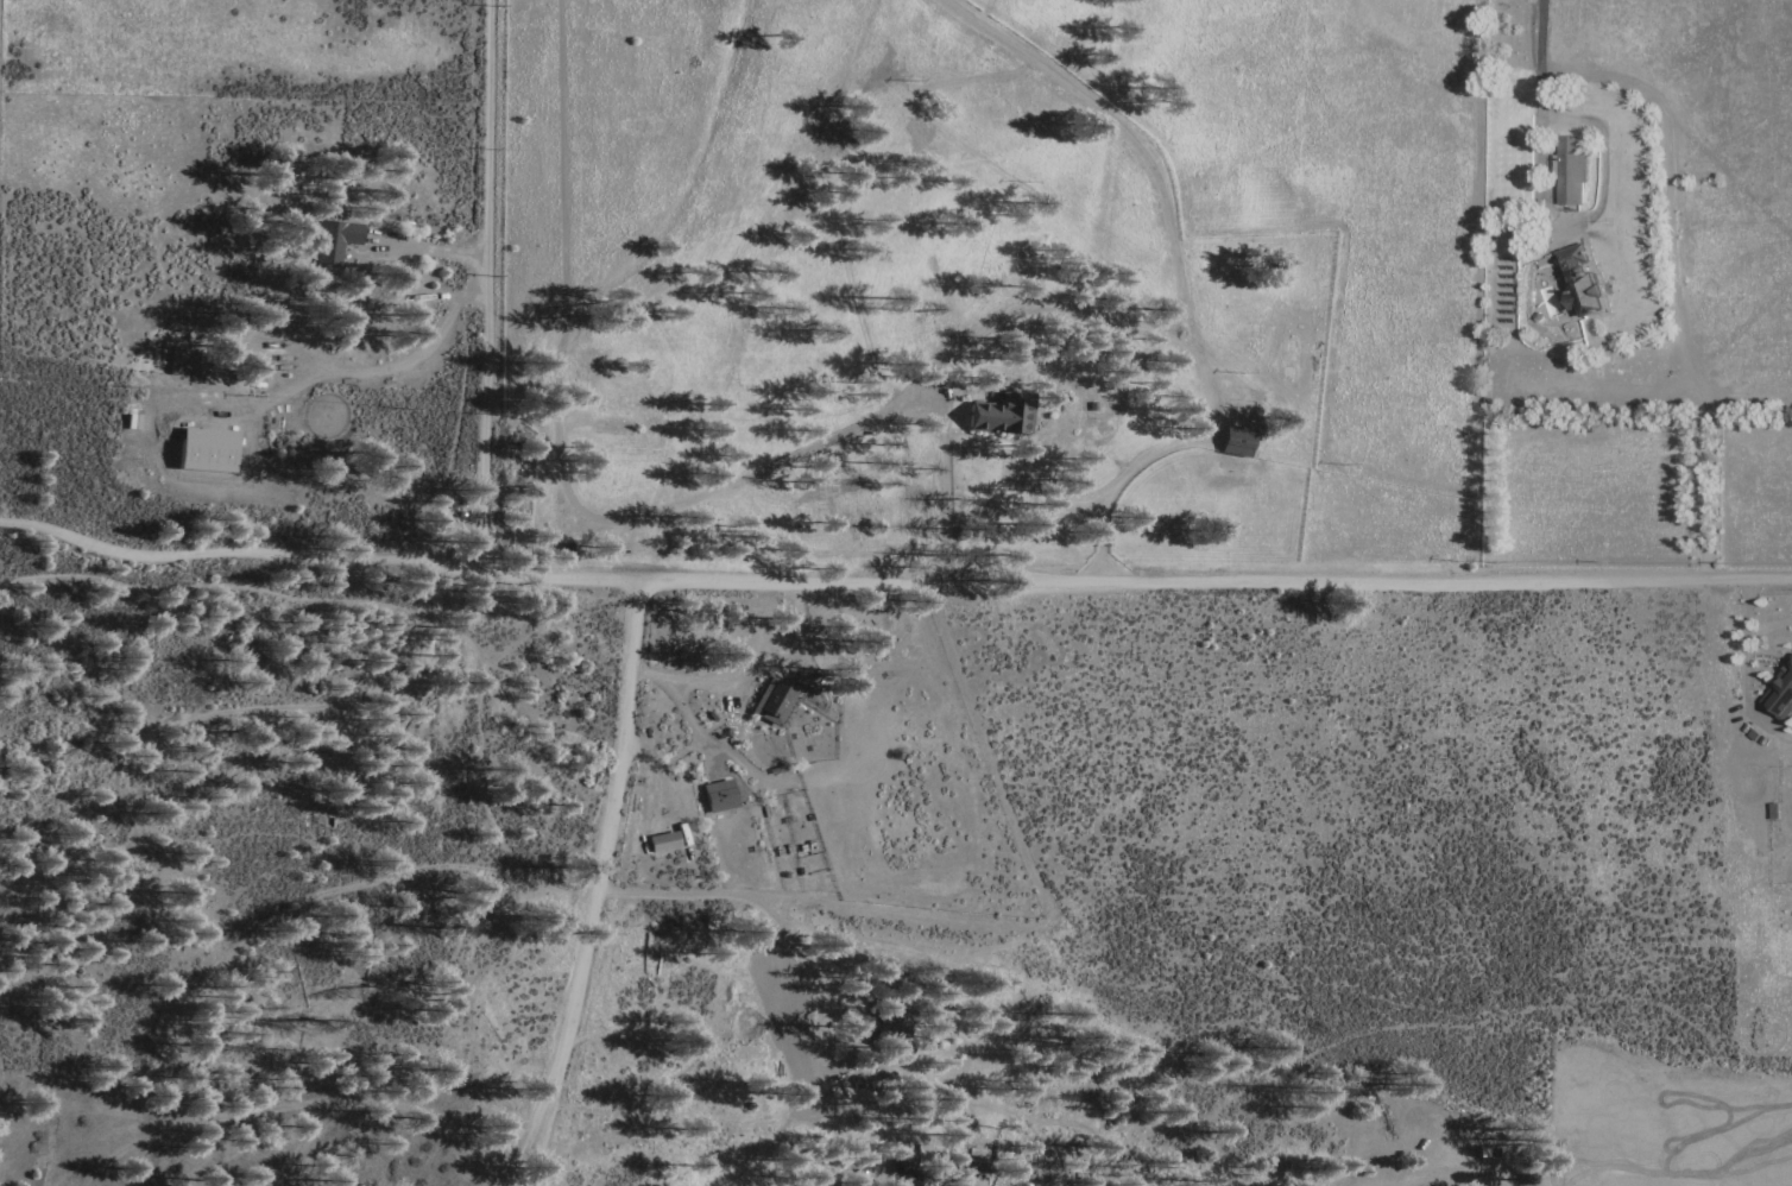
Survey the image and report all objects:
road: (1542, 39)
road: (1129, 139)
building: (1569, 168)
road: (1580, 221)
building: (333, 242)
road: (427, 252)
building: (1578, 280)
road: (487, 284)
road: (433, 294)
road: (1094, 315)
building: (999, 415)
building: (1238, 441)
road: (563, 442)
building: (207, 448)
road: (1061, 498)
road: (892, 581)
road: (263, 592)
road: (1744, 660)
road: (749, 669)
building: (1779, 694)
building: (775, 701)
road: (718, 749)
road: (708, 757)
building: (718, 797)
building: (661, 843)
road: (602, 888)
road: (793, 948)
building: (876, 1022)
building: (974, 1162)
building: (903, 1166)

